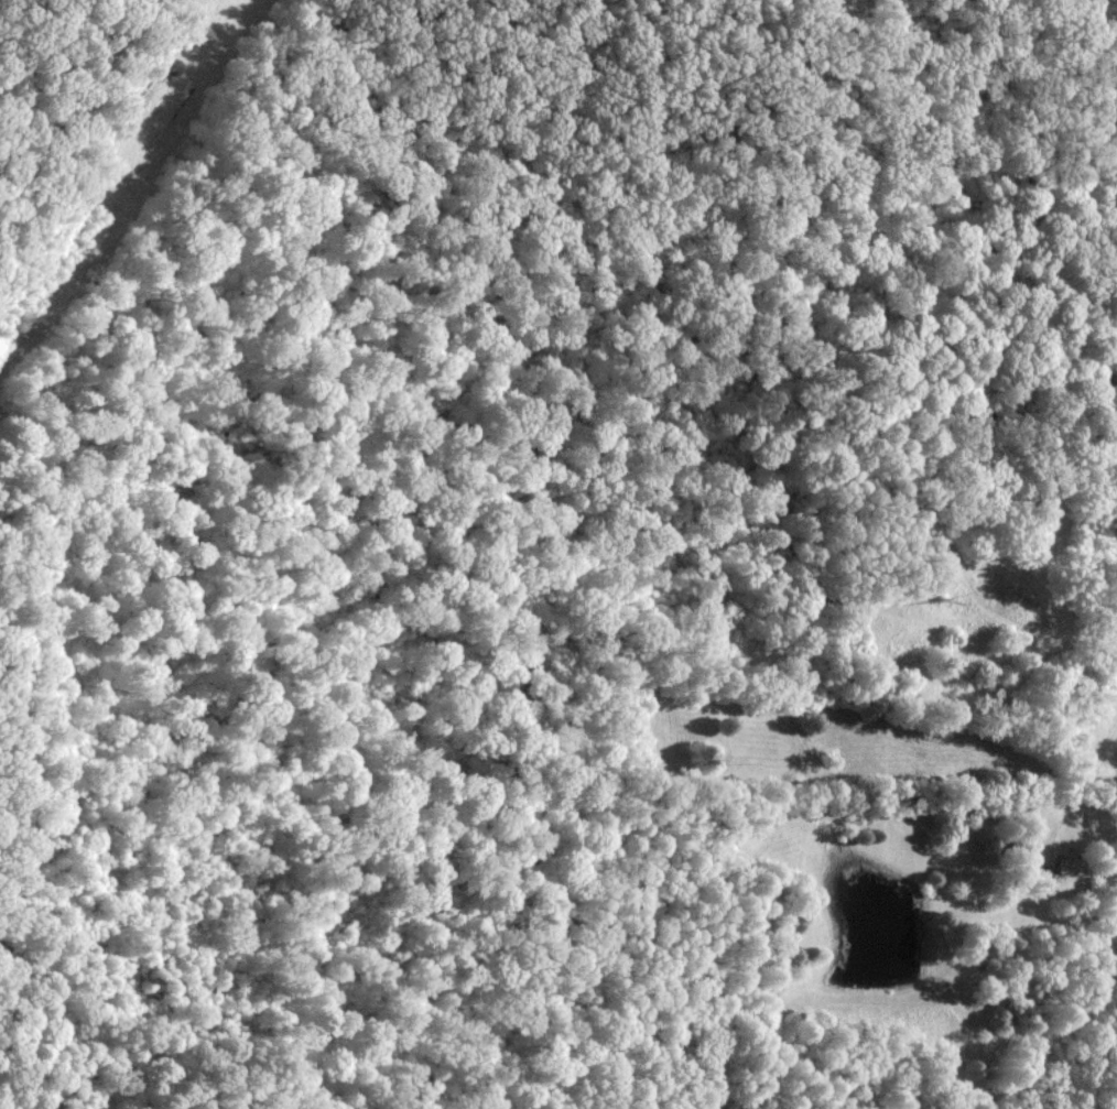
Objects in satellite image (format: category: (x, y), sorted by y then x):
building: (1070, 866)

